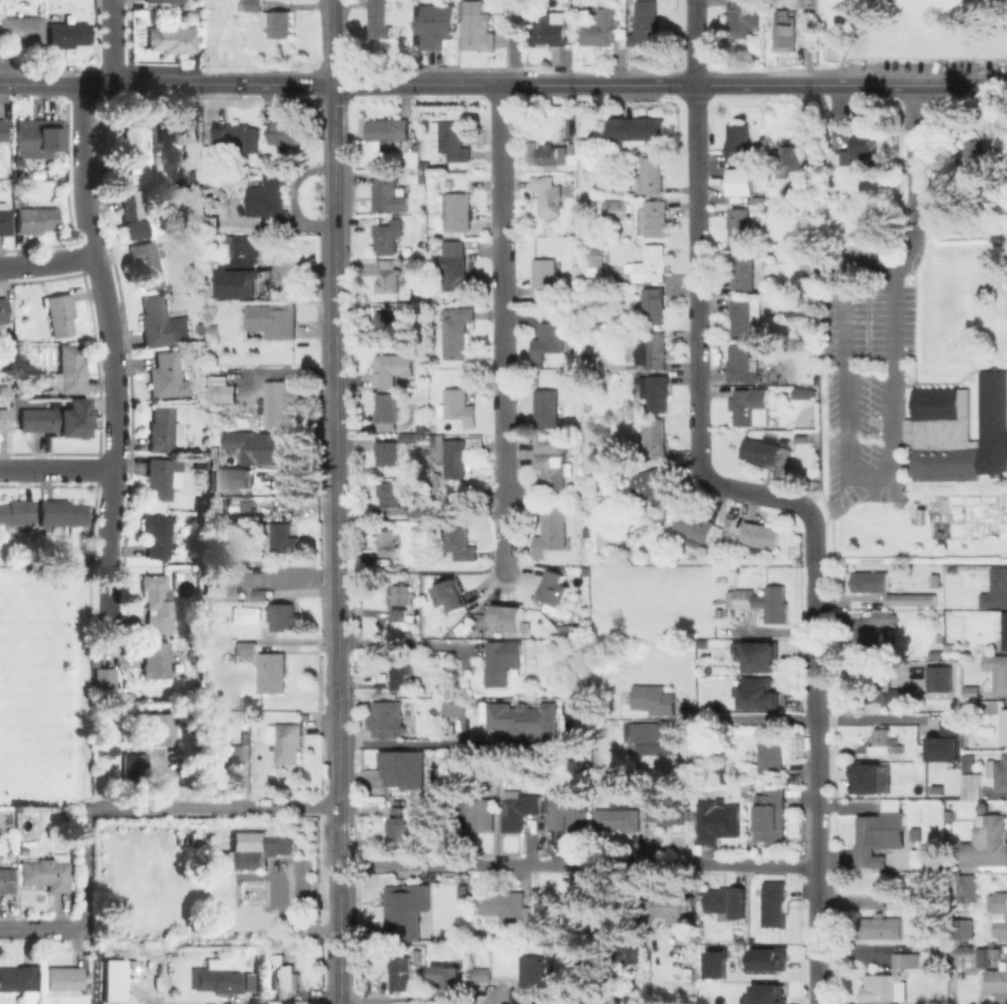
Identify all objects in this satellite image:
building: (164, 0)
building: (404, 0)
building: (804, 3)
building: (251, 6)
building: (741, 17)
building: (379, 19)
building: (278, 22)
building: (645, 23)
building: (436, 25)
building: (22, 28)
building: (477, 28)
building: (603, 28)
building: (549, 30)
park: (912, 31)
building: (67, 34)
building: (785, 34)
building: (172, 38)
road: (855, 38)
road: (113, 42)
road: (694, 42)
road: (514, 43)
road: (212, 84)
road: (465, 85)
road: (756, 85)
building: (2, 129)
building: (179, 129)
building: (388, 129)
building: (637, 130)
building: (286, 133)
building: (236, 136)
building: (38, 138)
building: (737, 140)
building: (453, 141)
building: (865, 144)
building: (531, 147)
building: (572, 147)
building: (132, 149)
building: (269, 154)
building: (553, 155)
building: (975, 155)
building: (839, 158)
building: (789, 159)
building: (425, 165)
building: (196, 175)
building: (651, 175)
building: (741, 182)
building: (621, 188)
building: (799, 189)
road: (915, 189)
building: (385, 191)
building: (213, 193)
building: (268, 194)
building: (547, 194)
building: (993, 194)
building: (616, 209)
building: (460, 211)
building: (133, 213)
building: (4, 218)
building: (653, 218)
building: (34, 219)
building: (260, 224)
building: (738, 225)
building: (388, 235)
building: (596, 259)
road: (46, 261)
building: (652, 263)
building: (145, 265)
building: (242, 267)
building: (457, 268)
building: (195, 269)
building: (743, 271)
building: (545, 276)
building: (625, 276)
building: (388, 280)
building: (209, 287)
road: (334, 296)
building: (407, 306)
building: (654, 306)
building: (797, 306)
building: (3, 309)
building: (59, 312)
building: (742, 316)
building: (272, 319)
road: (107, 322)
building: (385, 322)
road: (501, 322)
building: (161, 323)
building: (457, 331)
building: (550, 336)
road: (696, 348)
building: (200, 349)
building: (650, 351)
building: (590, 355)
building: (741, 363)
building: (392, 368)
building: (69, 370)
building: (167, 374)
building: (3, 389)
building: (220, 389)
building: (653, 391)
building: (802, 392)
building: (289, 402)
building: (750, 405)
building: (458, 406)
building: (547, 407)
building: (388, 411)
road: (892, 411)
building: (262, 415)
building: (4, 418)
building: (49, 420)
building: (162, 428)
building: (959, 429)
building: (597, 435)
building: (654, 436)
building: (800, 437)
building: (409, 439)
building: (549, 443)
building: (260, 447)
building: (763, 451)
building: (387, 452)
building: (454, 457)
building: (199, 462)
road: (56, 469)
building: (552, 472)
building: (163, 477)
building: (233, 477)
building: (653, 484)
building: (392, 494)
building: (660, 507)
building: (418, 508)
building: (15, 512)
building: (60, 513)
road: (825, 516)
road: (939, 516)
building: (694, 523)
building: (552, 531)
building: (760, 534)
building: (159, 536)
building: (279, 538)
building: (456, 541)
building: (387, 544)
road: (504, 566)
building: (871, 580)
building: (934, 580)
building: (996, 588)
building: (555, 589)
building: (261, 590)
building: (404, 594)
building: (453, 595)
building: (912, 598)
road: (104, 600)
building: (764, 601)
building: (156, 602)
building: (399, 613)
building: (282, 616)
road: (337, 617)
building: (882, 617)
building: (512, 620)
road: (813, 621)
building: (191, 622)
building: (1004, 630)
building: (191, 631)
road: (775, 632)
building: (871, 638)
road: (401, 644)
building: (245, 646)
building: (933, 653)
building: (229, 654)
building: (758, 657)
building: (154, 659)
road: (338, 661)
building: (503, 661)
building: (271, 671)
building: (997, 671)
building: (402, 678)
building: (940, 679)
building: (104, 680)
building: (971, 691)
building: (758, 694)
building: (902, 697)
building: (655, 698)
building: (973, 706)
building: (455, 710)
road: (338, 712)
road: (756, 717)
road: (870, 719)
building: (385, 721)
building: (527, 721)
building: (1004, 725)
building: (154, 732)
building: (652, 737)
building: (285, 740)
building: (949, 741)
building: (881, 742)
road: (410, 744)
building: (110, 750)
building: (770, 750)
road: (815, 752)
building: (230, 755)
building: (970, 763)
building: (135, 767)
building: (404, 769)
building: (998, 772)
building: (870, 778)
building: (972, 785)
building: (939, 789)
road: (214, 808)
building: (662, 809)
building: (477, 810)
building: (519, 810)
building: (572, 810)
building: (619, 818)
building: (771, 818)
building: (718, 822)
building: (400, 824)
building: (916, 832)
building: (880, 835)
building: (281, 843)
building: (986, 847)
building: (255, 857)
building: (234, 858)
building: (921, 859)
road: (578, 864)
road: (83, 868)
building: (45, 872)
road: (339, 873)
building: (5, 880)
building: (967, 887)
building: (919, 896)
road: (817, 898)
building: (726, 901)
building: (560, 902)
building: (773, 902)
building: (440, 906)
building: (670, 907)
building: (506, 908)
building: (408, 909)
building: (999, 914)
road: (40, 929)
building: (882, 929)
building: (966, 929)
building: (961, 949)
building: (632, 954)
building: (983, 956)
building: (767, 958)
building: (715, 962)
building: (283, 969)
building: (400, 972)
building: (480, 974)
road: (765, 975)
building: (63, 977)
building: (449, 977)
building: (888, 977)
building: (997, 978)
building: (216, 979)
building: (115, 982)
building: (533, 982)
building: (20, 983)
building: (763, 994)
road: (323, 995)
road: (496, 999)
road: (228, 1002)

